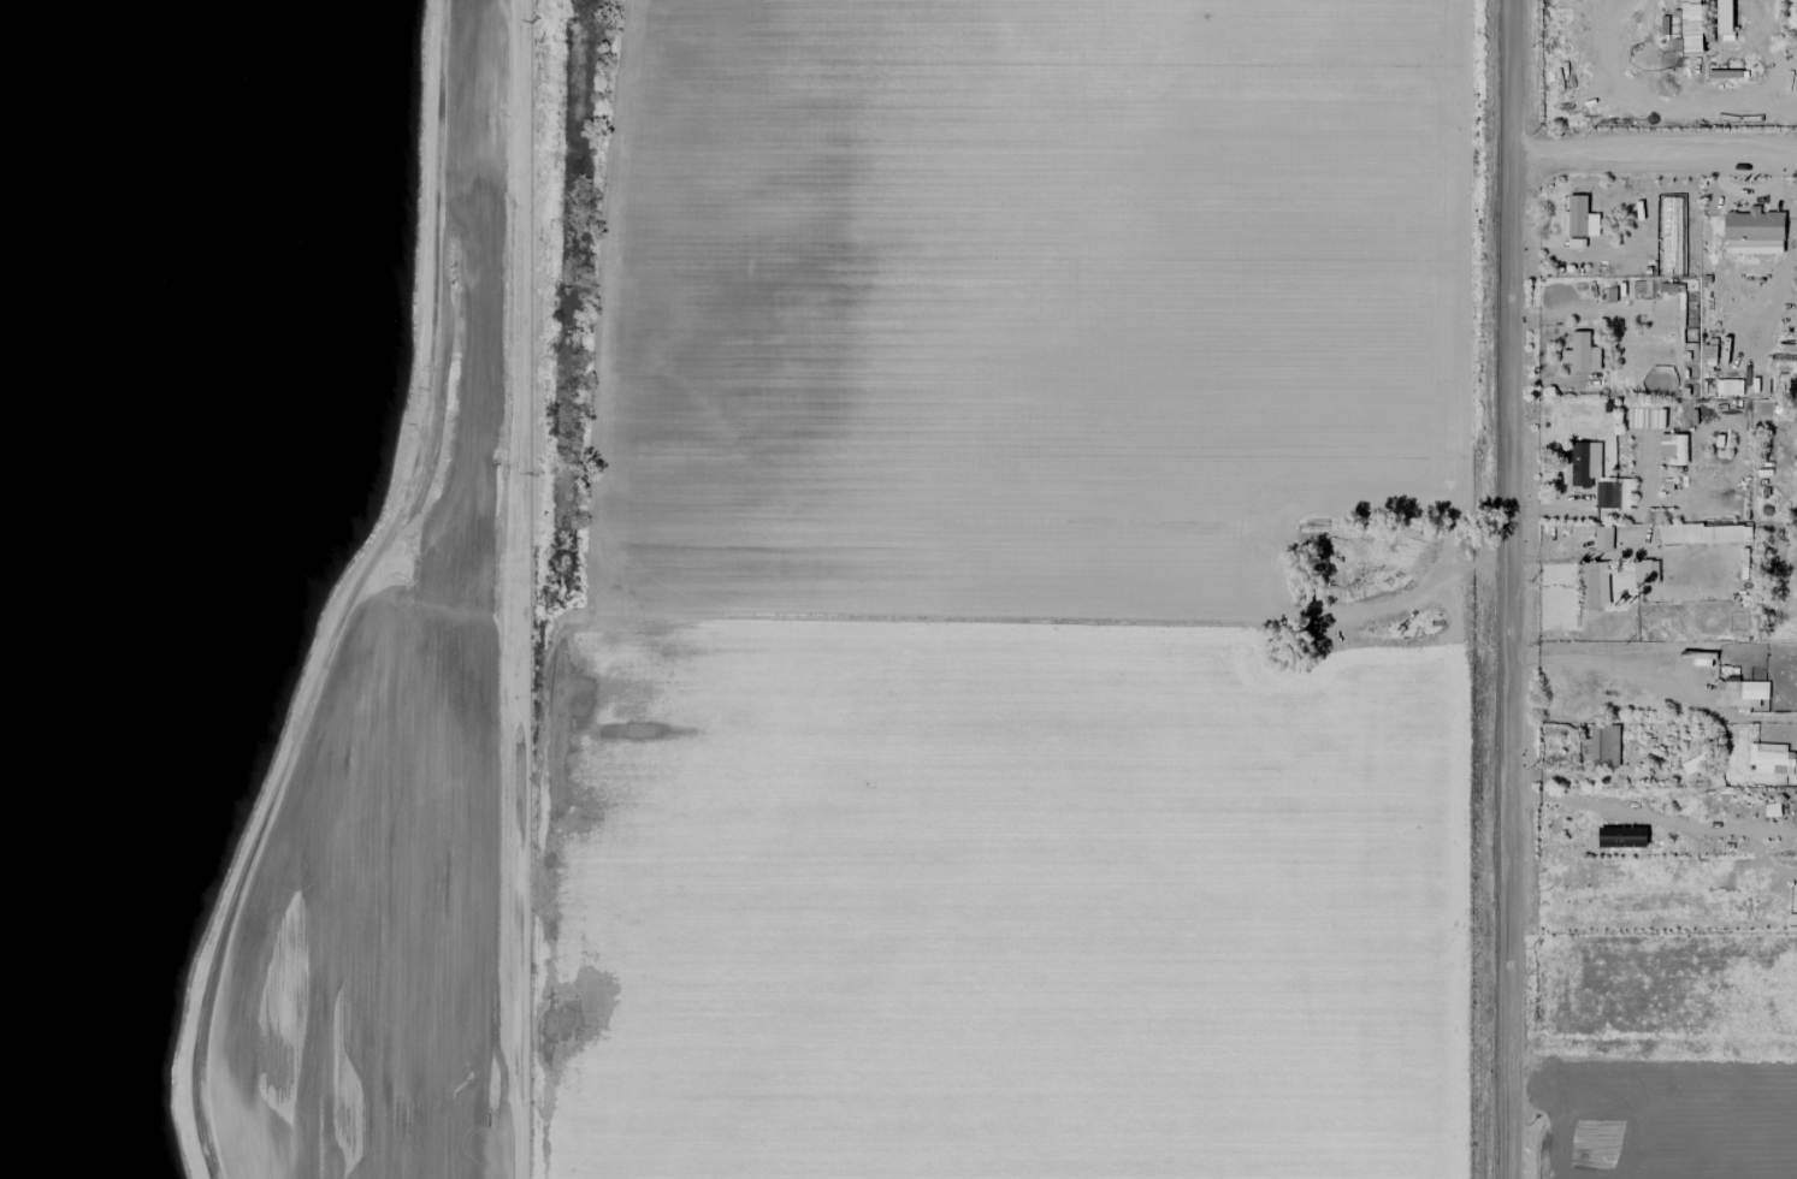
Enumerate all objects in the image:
building: (1724, 8)
building: (1689, 28)
road: (1655, 159)
building: (1578, 218)
building: (1751, 232)
building: (1580, 352)
building: (1708, 352)
building: (1649, 417)
building: (1583, 463)
building: (1609, 494)
building: (1700, 533)
building: (1602, 538)
building: (1644, 571)
building: (1591, 585)
road: (1512, 588)
building: (1739, 693)
building: (1598, 746)
building: (1769, 758)

